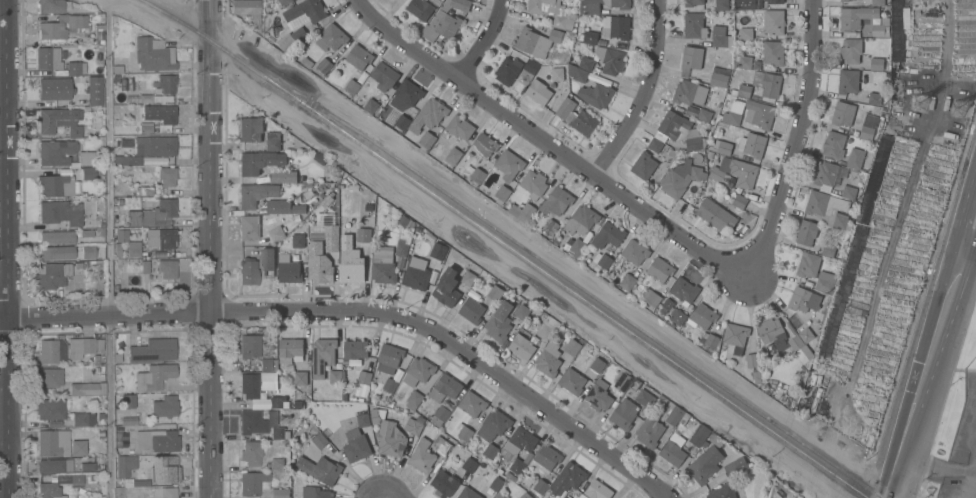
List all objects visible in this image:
building: (844, 0)
building: (851, 0)
building: (774, 1)
building: (285, 2)
building: (692, 2)
building: (877, 2)
building: (721, 5)
building: (745, 5)
building: (53, 6)
building: (245, 7)
building: (420, 8)
building: (589, 8)
building: (305, 12)
building: (552, 12)
building: (855, 17)
building: (905, 17)
building: (445, 20)
building: (774, 21)
building: (62, 26)
building: (694, 26)
building: (616, 27)
building: (878, 30)
building: (100, 34)
building: (745, 34)
building: (580, 36)
building: (331, 37)
building: (591, 37)
building: (720, 37)
building: (292, 39)
building: (537, 41)
building: (305, 42)
road: (485, 42)
building: (99, 48)
building: (851, 50)
building: (773, 53)
building: (154, 54)
road: (946, 54)
building: (358, 57)
building: (48, 58)
building: (610, 59)
building: (690, 60)
building: (743, 61)
building: (306, 62)
building: (586, 64)
building: (877, 64)
building: (324, 65)
building: (757, 65)
building: (76, 68)
building: (117, 69)
building: (529, 69)
building: (508, 70)
building: (578, 73)
building: (557, 74)
building: (385, 76)
building: (718, 77)
building: (82, 78)
building: (116, 79)
building: (848, 81)
building: (165, 83)
building: (768, 84)
building: (885, 84)
building: (352, 86)
building: (731, 88)
building: (54, 89)
building: (94, 90)
building: (744, 91)
building: (409, 92)
building: (538, 92)
building: (689, 93)
road: (645, 94)
building: (596, 95)
building: (154, 98)
building: (874, 98)
power tower: (969, 104)
building: (370, 106)
power tower: (930, 107)
building: (843, 113)
building: (759, 114)
building: (160, 115)
building: (429, 115)
building: (704, 116)
building: (729, 116)
building: (54, 118)
building: (577, 118)
building: (402, 121)
building: (869, 126)
building: (145, 127)
building: (460, 127)
building: (710, 128)
building: (250, 129)
building: (75, 131)
building: (680, 131)
building: (116, 139)
building: (273, 141)
building: (426, 141)
road: (550, 143)
road: (797, 143)
building: (157, 145)
building: (484, 145)
building: (655, 145)
building: (752, 145)
building: (834, 145)
building: (722, 147)
building: (669, 151)
building: (63, 154)
building: (710, 154)
building: (453, 156)
building: (319, 158)
building: (855, 159)
building: (126, 160)
building: (259, 162)
building: (509, 165)
building: (644, 165)
building: (736, 172)
building: (88, 173)
building: (166, 175)
building: (474, 175)
building: (825, 175)
building: (284, 176)
building: (681, 178)
building: (302, 179)
building: (534, 184)
building: (56, 185)
building: (306, 185)
building: (144, 188)
building: (849, 193)
building: (255, 194)
building: (502, 195)
building: (304, 196)
building: (326, 201)
building: (557, 201)
building: (739, 201)
building: (119, 202)
building: (824, 203)
road: (966, 203)
building: (284, 207)
building: (522, 211)
building: (58, 213)
building: (153, 214)
building: (716, 215)
building: (297, 218)
building: (403, 220)
building: (582, 220)
building: (840, 222)
building: (551, 226)
building: (249, 227)
building: (326, 231)
building: (277, 232)
building: (806, 232)
building: (86, 233)
road: (970, 233)
building: (120, 235)
building: (363, 235)
building: (608, 235)
building: (57, 237)
building: (161, 238)
building: (857, 240)
building: (298, 241)
railway: (507, 245)
building: (403, 246)
building: (133, 248)
road: (209, 248)
building: (576, 248)
road: (6, 249)
building: (829, 250)
building: (438, 251)
building: (67, 252)
building: (631, 254)
road: (109, 255)
road: (967, 256)
building: (267, 258)
building: (601, 261)
building: (78, 264)
building: (319, 264)
building: (383, 265)
building: (808, 265)
building: (145, 266)
building: (167, 268)
building: (289, 270)
building: (660, 270)
building: (248, 271)
building: (351, 273)
building: (417, 273)
building: (51, 275)
building: (468, 278)
building: (627, 281)
building: (825, 282)
railway: (578, 285)
building: (447, 287)
building: (159, 288)
building: (684, 291)
building: (495, 293)
building: (650, 297)
building: (805, 302)
building: (668, 304)
building: (471, 310)
building: (522, 311)
road: (361, 313)
building: (677, 316)
building: (702, 316)
road: (939, 319)
building: (499, 322)
building: (548, 329)
building: (772, 333)
building: (809, 334)
building: (735, 337)
building: (711, 342)
building: (83, 346)
building: (249, 346)
building: (523, 346)
building: (572, 347)
building: (800, 349)
building: (51, 350)
building: (290, 350)
building: (152, 351)
building: (354, 351)
building: (322, 356)
building: (118, 357)
building: (549, 357)
building: (389, 358)
building: (96, 359)
building: (752, 360)
building: (268, 365)
building: (597, 365)
building: (290, 368)
building: (418, 372)
building: (335, 376)
building: (756, 376)
building: (50, 377)
building: (154, 377)
building: (364, 377)
building: (300, 378)
building: (572, 381)
building: (623, 381)
building: (249, 385)
building: (390, 385)
building: (83, 388)
building: (445, 388)
building: (103, 389)
building: (599, 396)
building: (645, 398)
building: (414, 400)
building: (127, 401)
building: (276, 402)
building: (473, 404)
building: (165, 406)
building: (50, 409)
building: (624, 414)
building: (674, 415)
building: (100, 416)
building: (440, 416)
building: (83, 419)
building: (363, 419)
building: (422, 420)
building: (256, 421)
building: (413, 426)
building: (695, 429)
building: (493, 430)
building: (650, 431)
building: (277, 432)
building: (464, 432)
building: (100, 433)
building: (325, 433)
building: (388, 436)
building: (319, 438)
building: (157, 440)
building: (53, 443)
building: (442, 445)
building: (77, 447)
building: (519, 448)
building: (357, 449)
road: (899, 449)
building: (251, 452)
building: (672, 453)
road: (975, 455)
building: (423, 456)
building: (547, 458)
building: (125, 464)
building: (277, 464)
building: (55, 465)
building: (469, 465)
building: (705, 465)
building: (88, 466)
building: (735, 466)
building: (164, 469)
building: (320, 469)
road: (960, 470)
building: (510, 476)
building: (92, 477)
building: (68, 479)
building: (568, 479)
building: (526, 480)
building: (253, 482)
building: (141, 483)
building: (444, 483)
building: (496, 484)
road: (972, 485)
building: (540, 486)
building: (49, 490)
building: (598, 490)
building: (723, 491)
building: (164, 492)
building: (315, 492)
building: (280, 493)
building: (468, 493)
building: (525, 495)
building: (500, 496)
building: (80, 497)
building: (564, 497)

